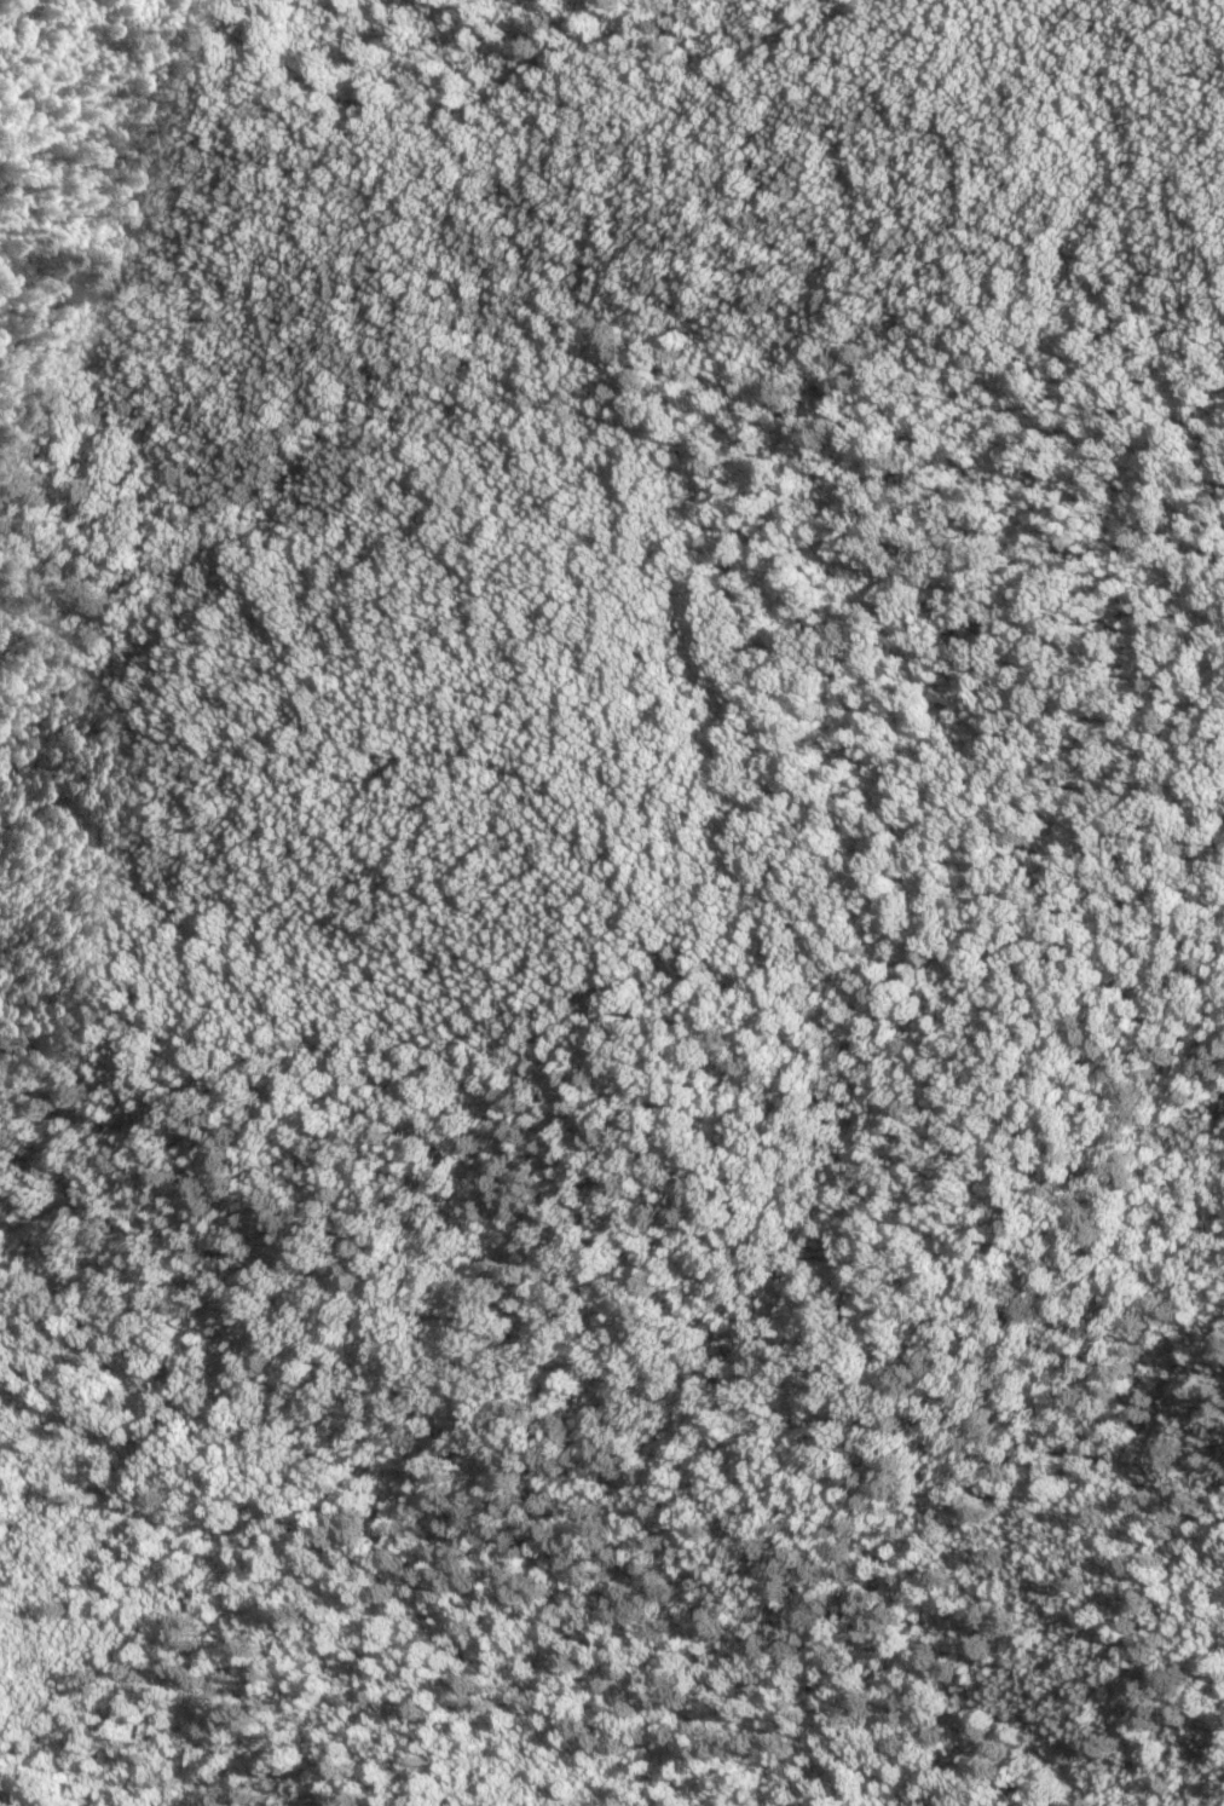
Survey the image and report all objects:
road: (483, 58)

